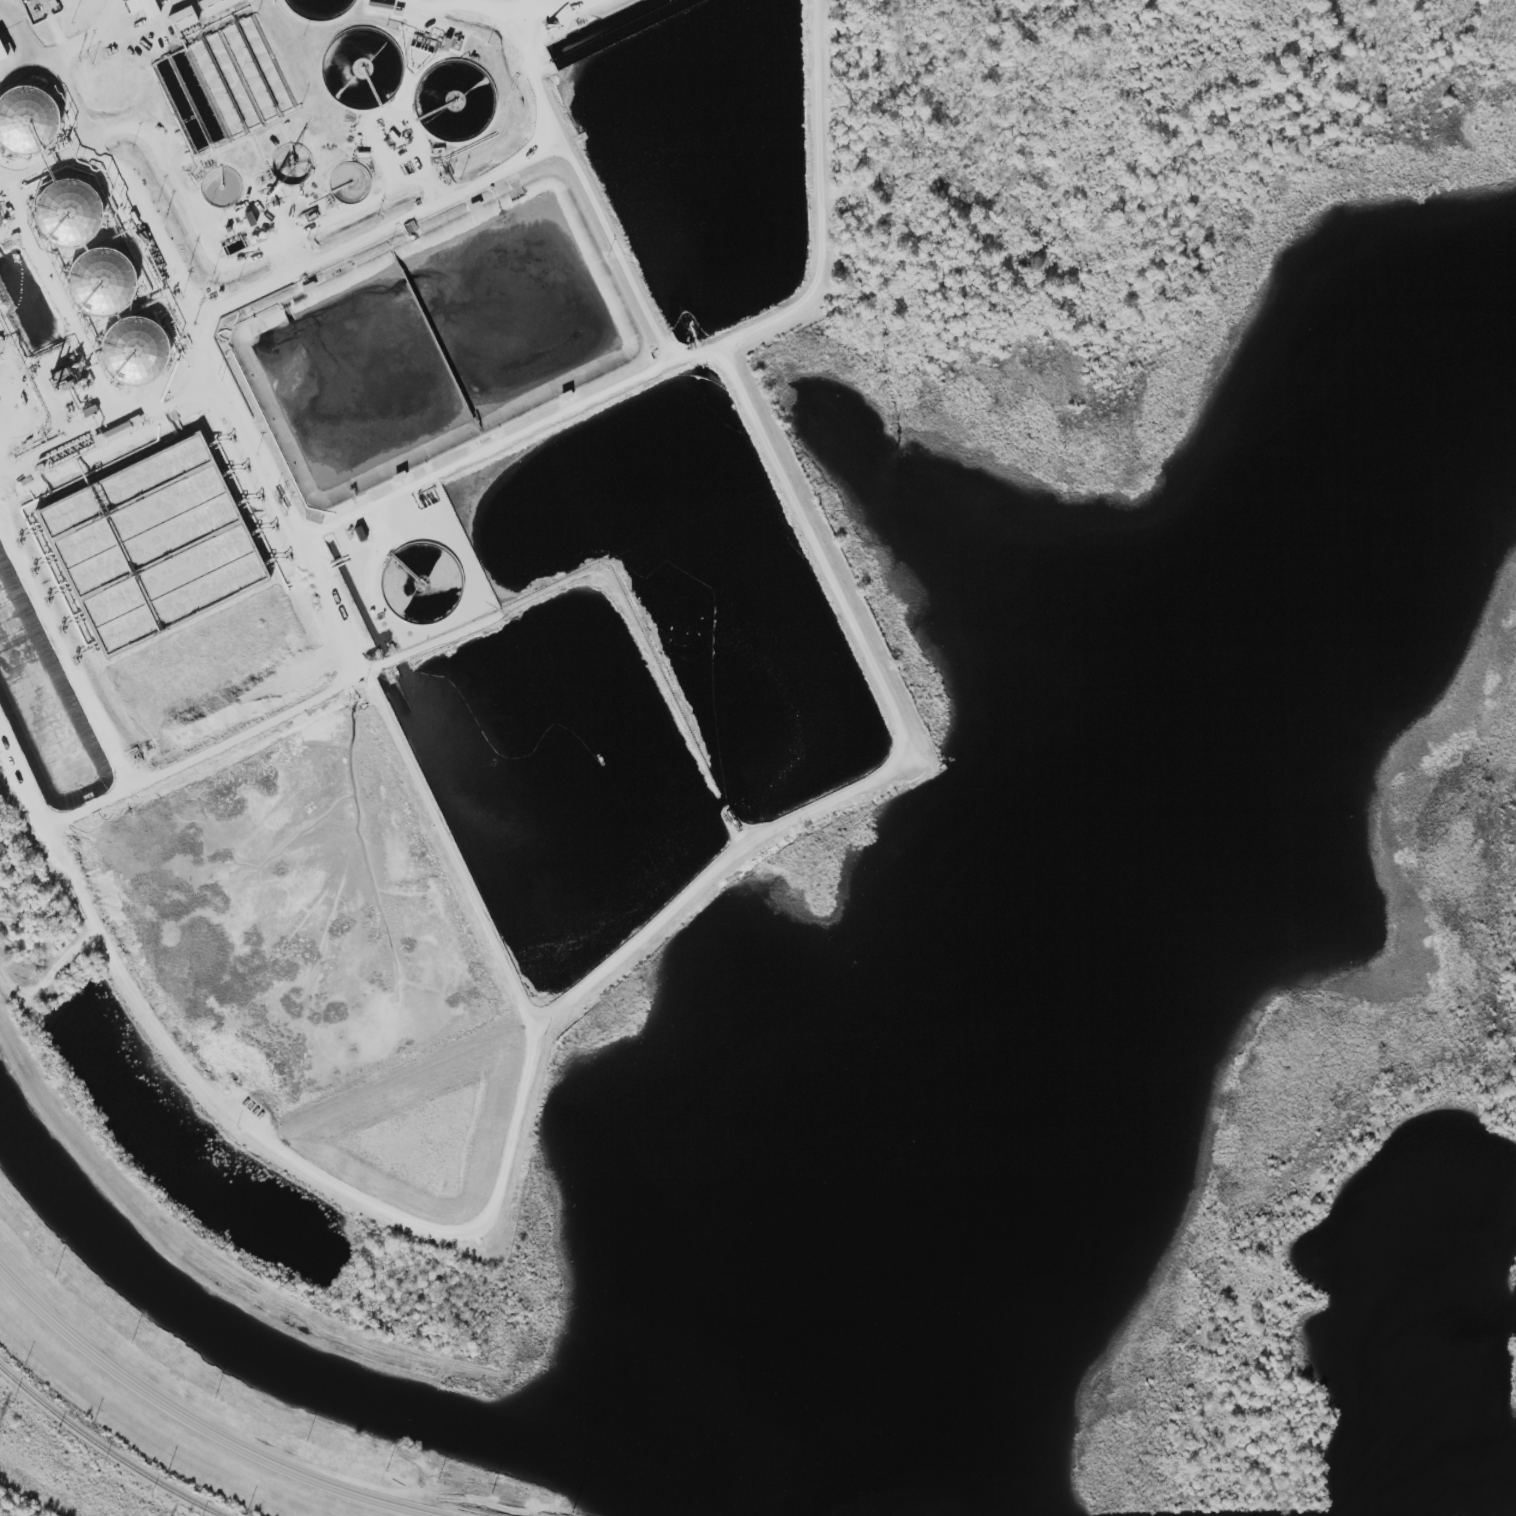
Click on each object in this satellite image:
building: (216, 5)
building: (143, 7)
road: (559, 18)
building: (182, 19)
road: (516, 33)
road: (27, 36)
building: (2, 54)
road: (55, 62)
building: (27, 118)
road: (484, 183)
road: (819, 201)
road: (818, 548)
road: (313, 569)
wastewater plant: (411, 579)
road: (474, 1239)
road: (204, 1424)
railway: (103, 1449)
river: (1210, 1508)

